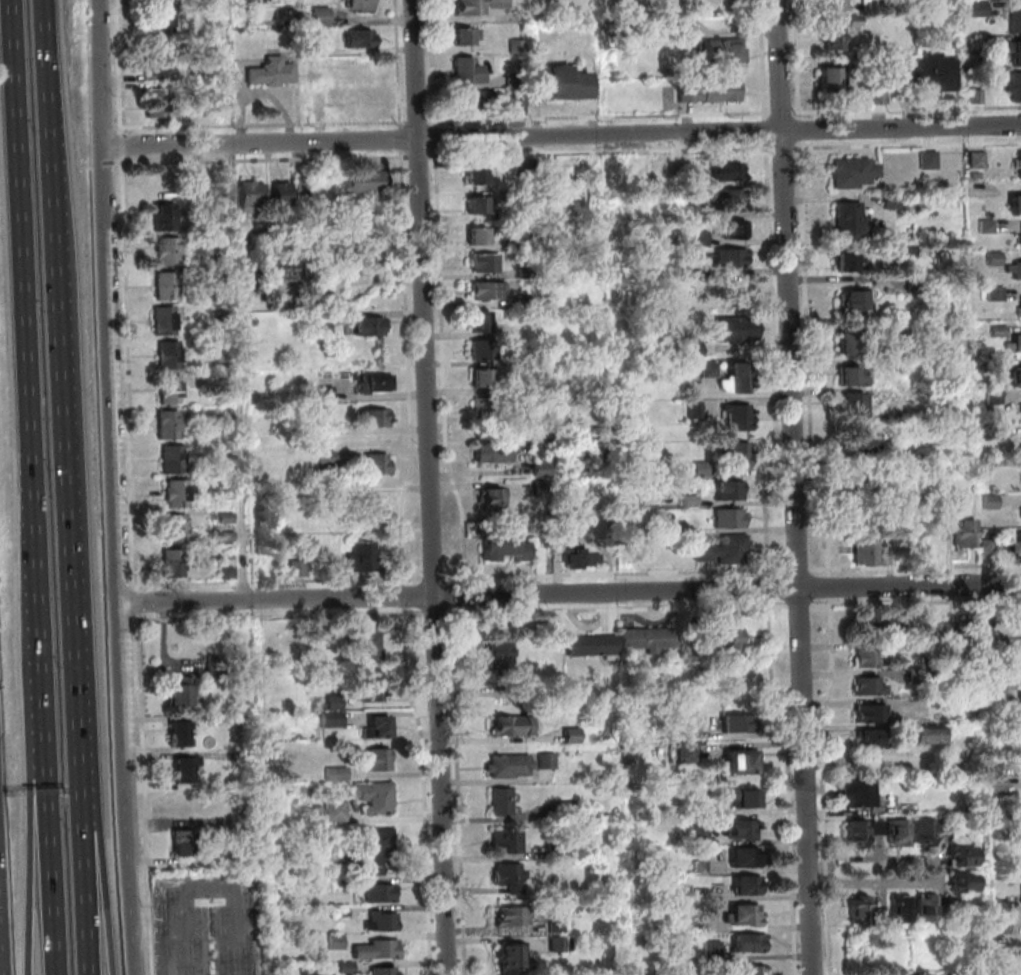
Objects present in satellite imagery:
building: (1012, 0)
building: (499, 5)
building: (361, 6)
building: (836, 7)
building: (471, 8)
park: (673, 8)
building: (979, 10)
building: (319, 19)
building: (162, 21)
building: (857, 22)
building: (1016, 22)
road: (770, 31)
building: (679, 33)
building: (467, 37)
building: (836, 38)
building: (362, 40)
building: (988, 41)
building: (519, 48)
building: (306, 53)
building: (725, 54)
building: (1016, 54)
road: (799, 60)
building: (161, 62)
road: (435, 63)
road: (400, 65)
road: (120, 67)
building: (467, 72)
building: (273, 74)
road: (765, 75)
building: (930, 75)
building: (516, 81)
building: (831, 82)
building: (561, 87)
building: (1016, 89)
building: (714, 94)
building: (882, 97)
building: (976, 97)
building: (519, 99)
building: (361, 102)
building: (472, 103)
building: (158, 105)
road: (907, 110)
road: (784, 113)
road: (602, 116)
road: (419, 121)
road: (266, 126)
road: (767, 131)
road: (803, 131)
road: (562, 136)
road: (437, 138)
road: (404, 140)
road: (124, 145)
road: (908, 145)
road: (786, 149)
road: (603, 153)
road: (422, 157)
road: (268, 160)
building: (931, 162)
building: (979, 162)
building: (1019, 164)
building: (525, 169)
building: (680, 171)
building: (728, 174)
building: (855, 175)
building: (978, 176)
building: (479, 179)
building: (365, 183)
building: (303, 185)
building: (254, 195)
building: (284, 195)
building: (734, 201)
building: (894, 203)
building: (480, 206)
building: (1017, 207)
building: (166, 211)
building: (521, 212)
building: (701, 213)
building: (851, 222)
building: (166, 225)
building: (989, 227)
building: (738, 230)
building: (1020, 234)
building: (313, 237)
building: (258, 238)
building: (480, 238)
building: (701, 239)
building: (1020, 239)
building: (522, 243)
building: (372, 244)
building: (170, 246)
building: (280, 247)
building: (219, 250)
road: (20, 252)
building: (908, 252)
building: (729, 258)
building: (996, 259)
building: (171, 260)
road: (56, 263)
building: (487, 265)
building: (850, 265)
building: (1018, 271)
building: (527, 274)
building: (683, 275)
building: (275, 278)
building: (168, 280)
building: (918, 284)
building: (490, 292)
building: (169, 294)
building: (997, 294)
building: (322, 297)
building: (858, 301)
building: (526, 302)
building: (1019, 307)
building: (167, 315)
building: (222, 319)
building: (483, 323)
building: (326, 325)
building: (371, 328)
building: (167, 329)
building: (737, 331)
building: (523, 332)
building: (1001, 332)
building: (884, 334)
building: (1016, 344)
building: (848, 347)
building: (171, 350)
building: (486, 350)
building: (693, 351)
building: (529, 357)
building: (225, 359)
road: (810, 360)
road: (776, 361)
building: (986, 363)
building: (171, 364)
building: (895, 367)
road: (446, 368)
road: (412, 369)
road: (243, 371)
building: (710, 372)
road: (131, 374)
building: (1017, 378)
building: (486, 379)
building: (853, 379)
building: (738, 381)
building: (172, 383)
building: (379, 384)
building: (517, 387)
building: (328, 392)
building: (223, 396)
building: (172, 398)
building: (995, 401)
building: (854, 403)
building: (487, 407)
building: (1020, 407)
building: (696, 410)
road: (114, 413)
building: (520, 417)
building: (376, 418)
building: (170, 419)
building: (740, 419)
building: (170, 433)
building: (989, 434)
building: (867, 444)
building: (174, 452)
building: (495, 454)
building: (737, 457)
building: (330, 458)
building: (912, 461)
building: (988, 464)
building: (175, 467)
building: (380, 468)
building: (703, 470)
building: (544, 471)
road: (433, 487)
road: (797, 487)
building: (180, 488)
building: (227, 488)
building: (543, 489)
building: (859, 489)
building: (336, 492)
building: (731, 492)
building: (180, 500)
building: (494, 500)
building: (692, 502)
building: (992, 502)
building: (369, 509)
building: (1020, 511)
building: (564, 514)
building: (227, 518)
building: (731, 520)
building: (178, 522)
building: (675, 529)
building: (966, 535)
building: (178, 536)
building: (228, 536)
building: (990, 547)
building: (1017, 548)
building: (507, 550)
building: (725, 552)
building: (866, 553)
building: (175, 558)
building: (364, 558)
building: (582, 559)
road: (916, 565)
building: (299, 569)
road: (801, 569)
building: (175, 572)
building: (229, 572)
road: (618, 573)
road: (436, 577)
road: (283, 580)
road: (832, 587)
road: (771, 589)
road: (571, 592)
road: (469, 594)
road: (406, 595)
road: (916, 602)
road: (140, 603)
road: (801, 606)
road: (469, 608)
road: (620, 609)
road: (439, 613)
road: (284, 616)
road: (37, 624)
building: (879, 626)
building: (318, 627)
building: (938, 634)
building: (967, 635)
building: (730, 637)
building: (700, 639)
building: (650, 641)
building: (370, 643)
building: (595, 647)
building: (915, 648)
building: (498, 658)
building: (869, 660)
building: (218, 667)
road: (76, 672)
building: (916, 676)
building: (932, 677)
building: (962, 678)
building: (998, 684)
building: (871, 687)
building: (371, 691)
building: (519, 691)
building: (185, 692)
building: (1019, 695)
building: (336, 702)
building: (872, 713)
building: (245, 719)
building: (335, 720)
building: (740, 725)
building: (516, 727)
building: (379, 729)
building: (183, 734)
building: (697, 735)
building: (574, 737)
building: (930, 738)
building: (872, 740)
building: (690, 754)
building: (245, 758)
building: (1017, 759)
building: (381, 761)
building: (549, 761)
building: (744, 764)
building: (512, 767)
building: (996, 769)
building: (188, 771)
building: (339, 773)
road: (826, 785)
building: (1001, 785)
road: (792, 786)
road: (427, 789)
road: (462, 793)
road: (148, 794)
building: (859, 794)
building: (745, 798)
building: (377, 799)
building: (504, 802)
building: (189, 807)
building: (319, 810)
building: (568, 811)
building: (338, 812)
building: (703, 812)
building: (998, 816)
building: (248, 822)
building: (880, 827)
building: (928, 829)
building: (743, 830)
building: (859, 832)
building: (901, 832)
building: (702, 835)
building: (186, 842)
building: (509, 844)
building: (375, 850)
building: (558, 851)
building: (967, 857)
road: (34, 859)
road: (48, 859)
building: (747, 859)
road: (941, 868)
building: (703, 869)
road: (820, 872)
building: (512, 877)
road: (212, 882)
building: (967, 882)
building: (338, 887)
building: (750, 887)
building: (1020, 893)
building: (383, 894)
building: (705, 895)
road: (86, 897)
road: (96, 897)
road: (133, 901)
building: (1001, 906)
building: (928, 908)
building: (904, 909)
building: (862, 911)
building: (344, 913)
building: (951, 913)
building: (749, 916)
building: (883, 916)
building: (516, 918)
building: (383, 922)
parking lot: (212, 923)
building: (1002, 924)
building: (702, 925)
building: (560, 926)
building: (339, 943)
building: (749, 945)
building: (563, 946)
building: (379, 951)
building: (715, 952)
building: (1003, 954)
building: (513, 959)
building: (349, 968)
building: (694, 968)
building: (752, 971)
building: (385, 972)

